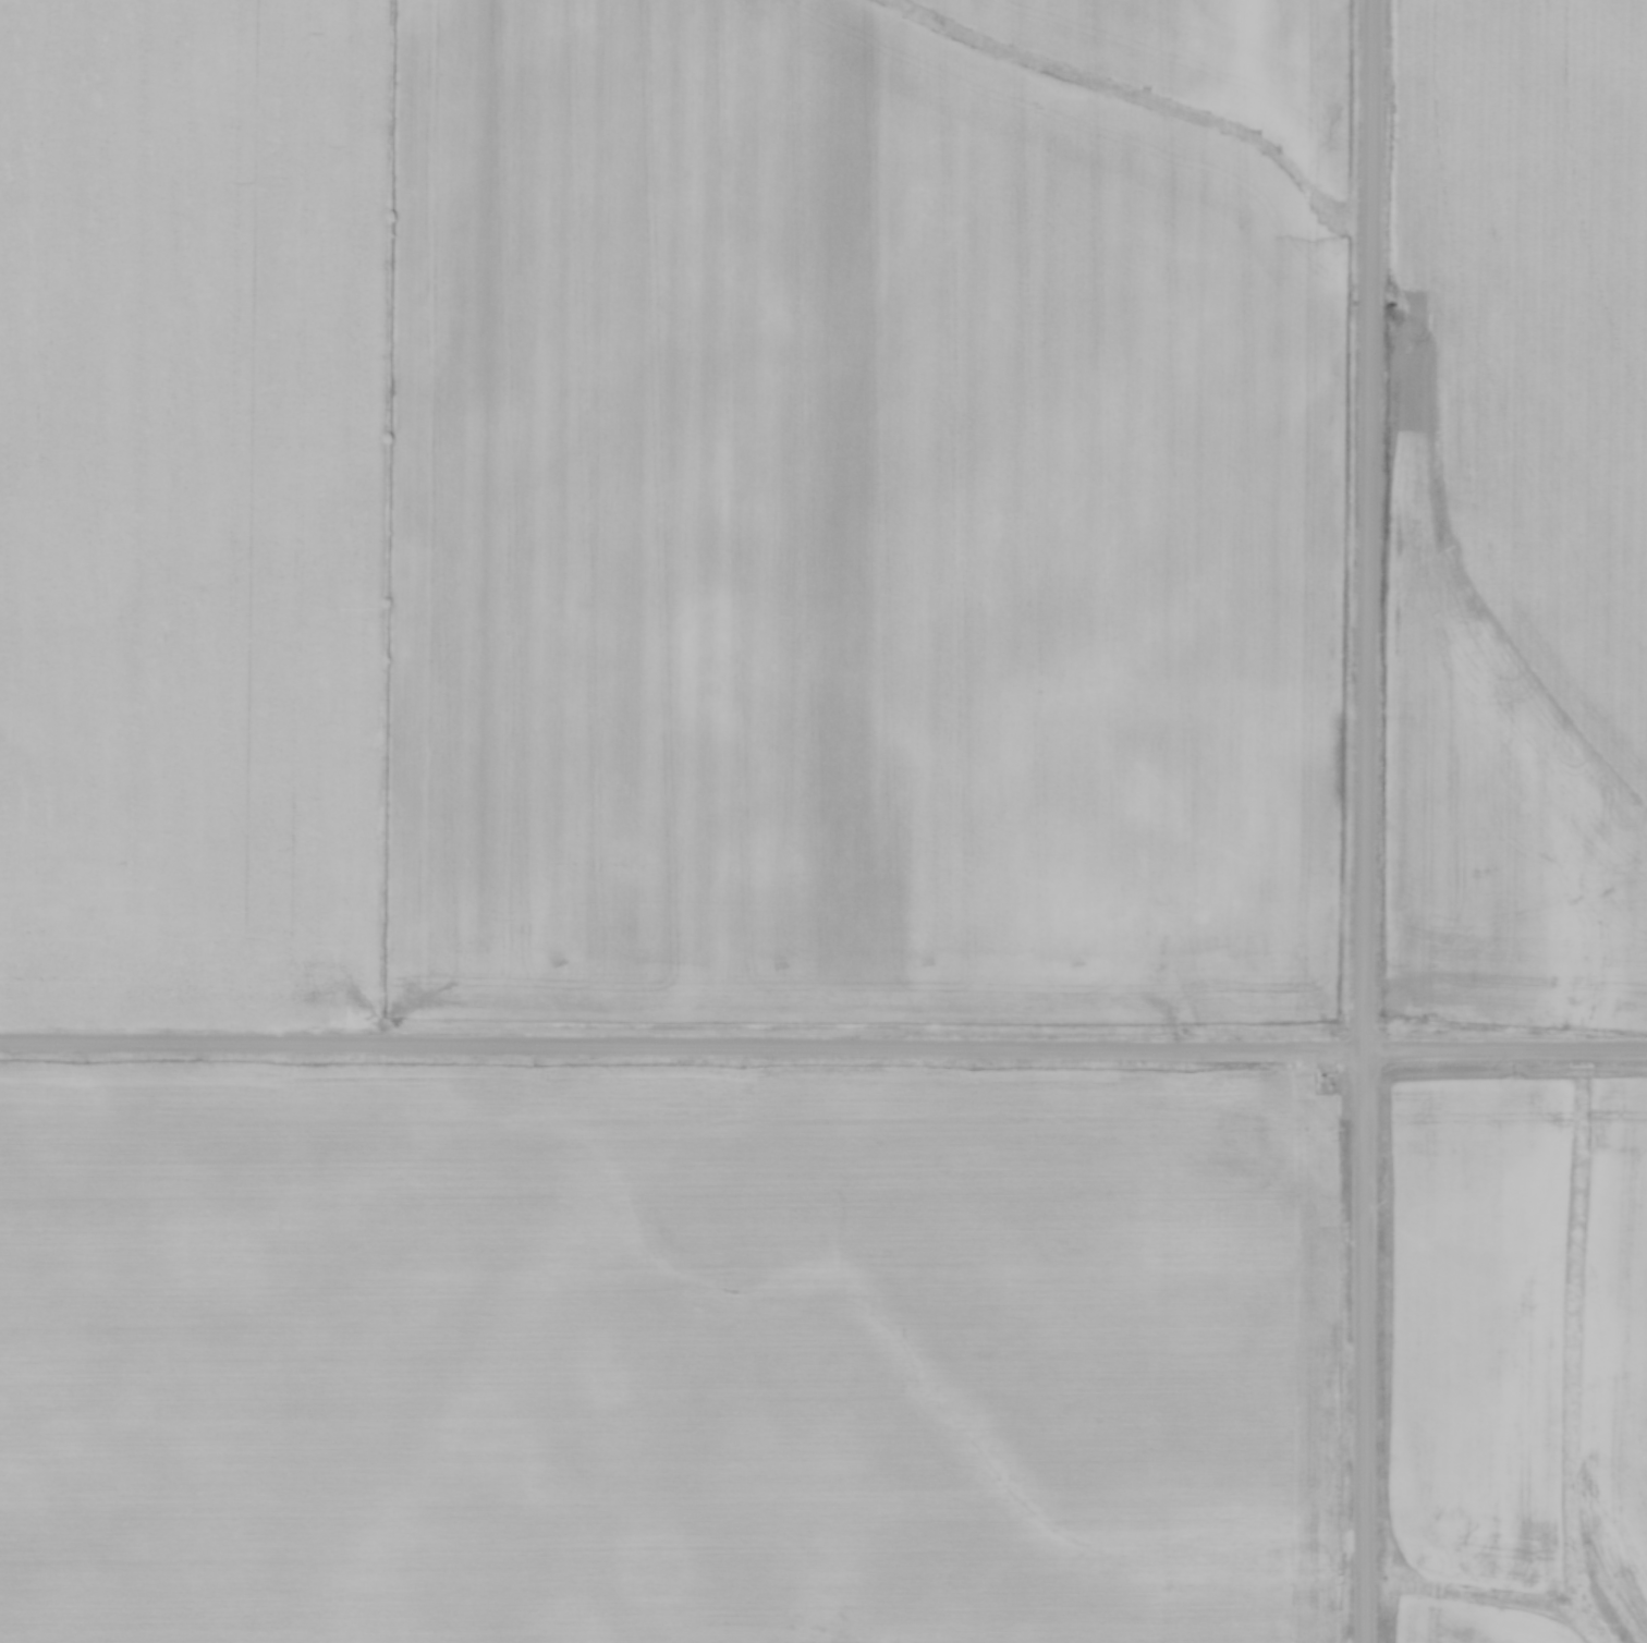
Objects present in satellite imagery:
road: (1365, 820)
road: (822, 1052)

